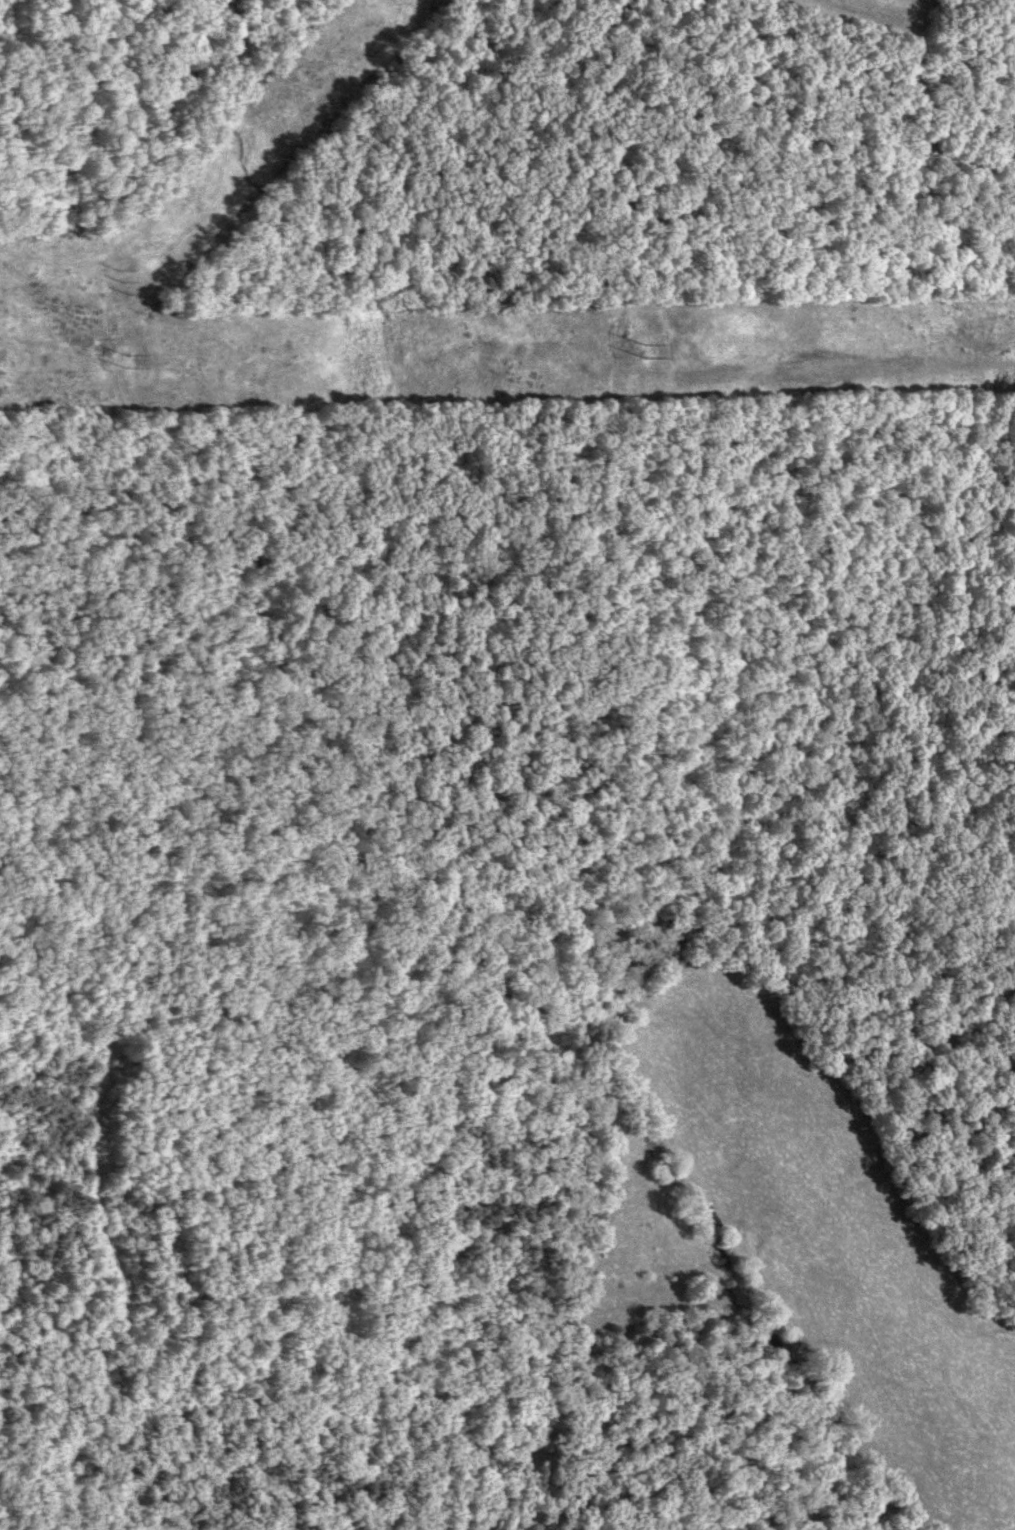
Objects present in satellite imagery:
power tower: (118, 281)
power tower: (648, 351)
power tower: (123, 362)

